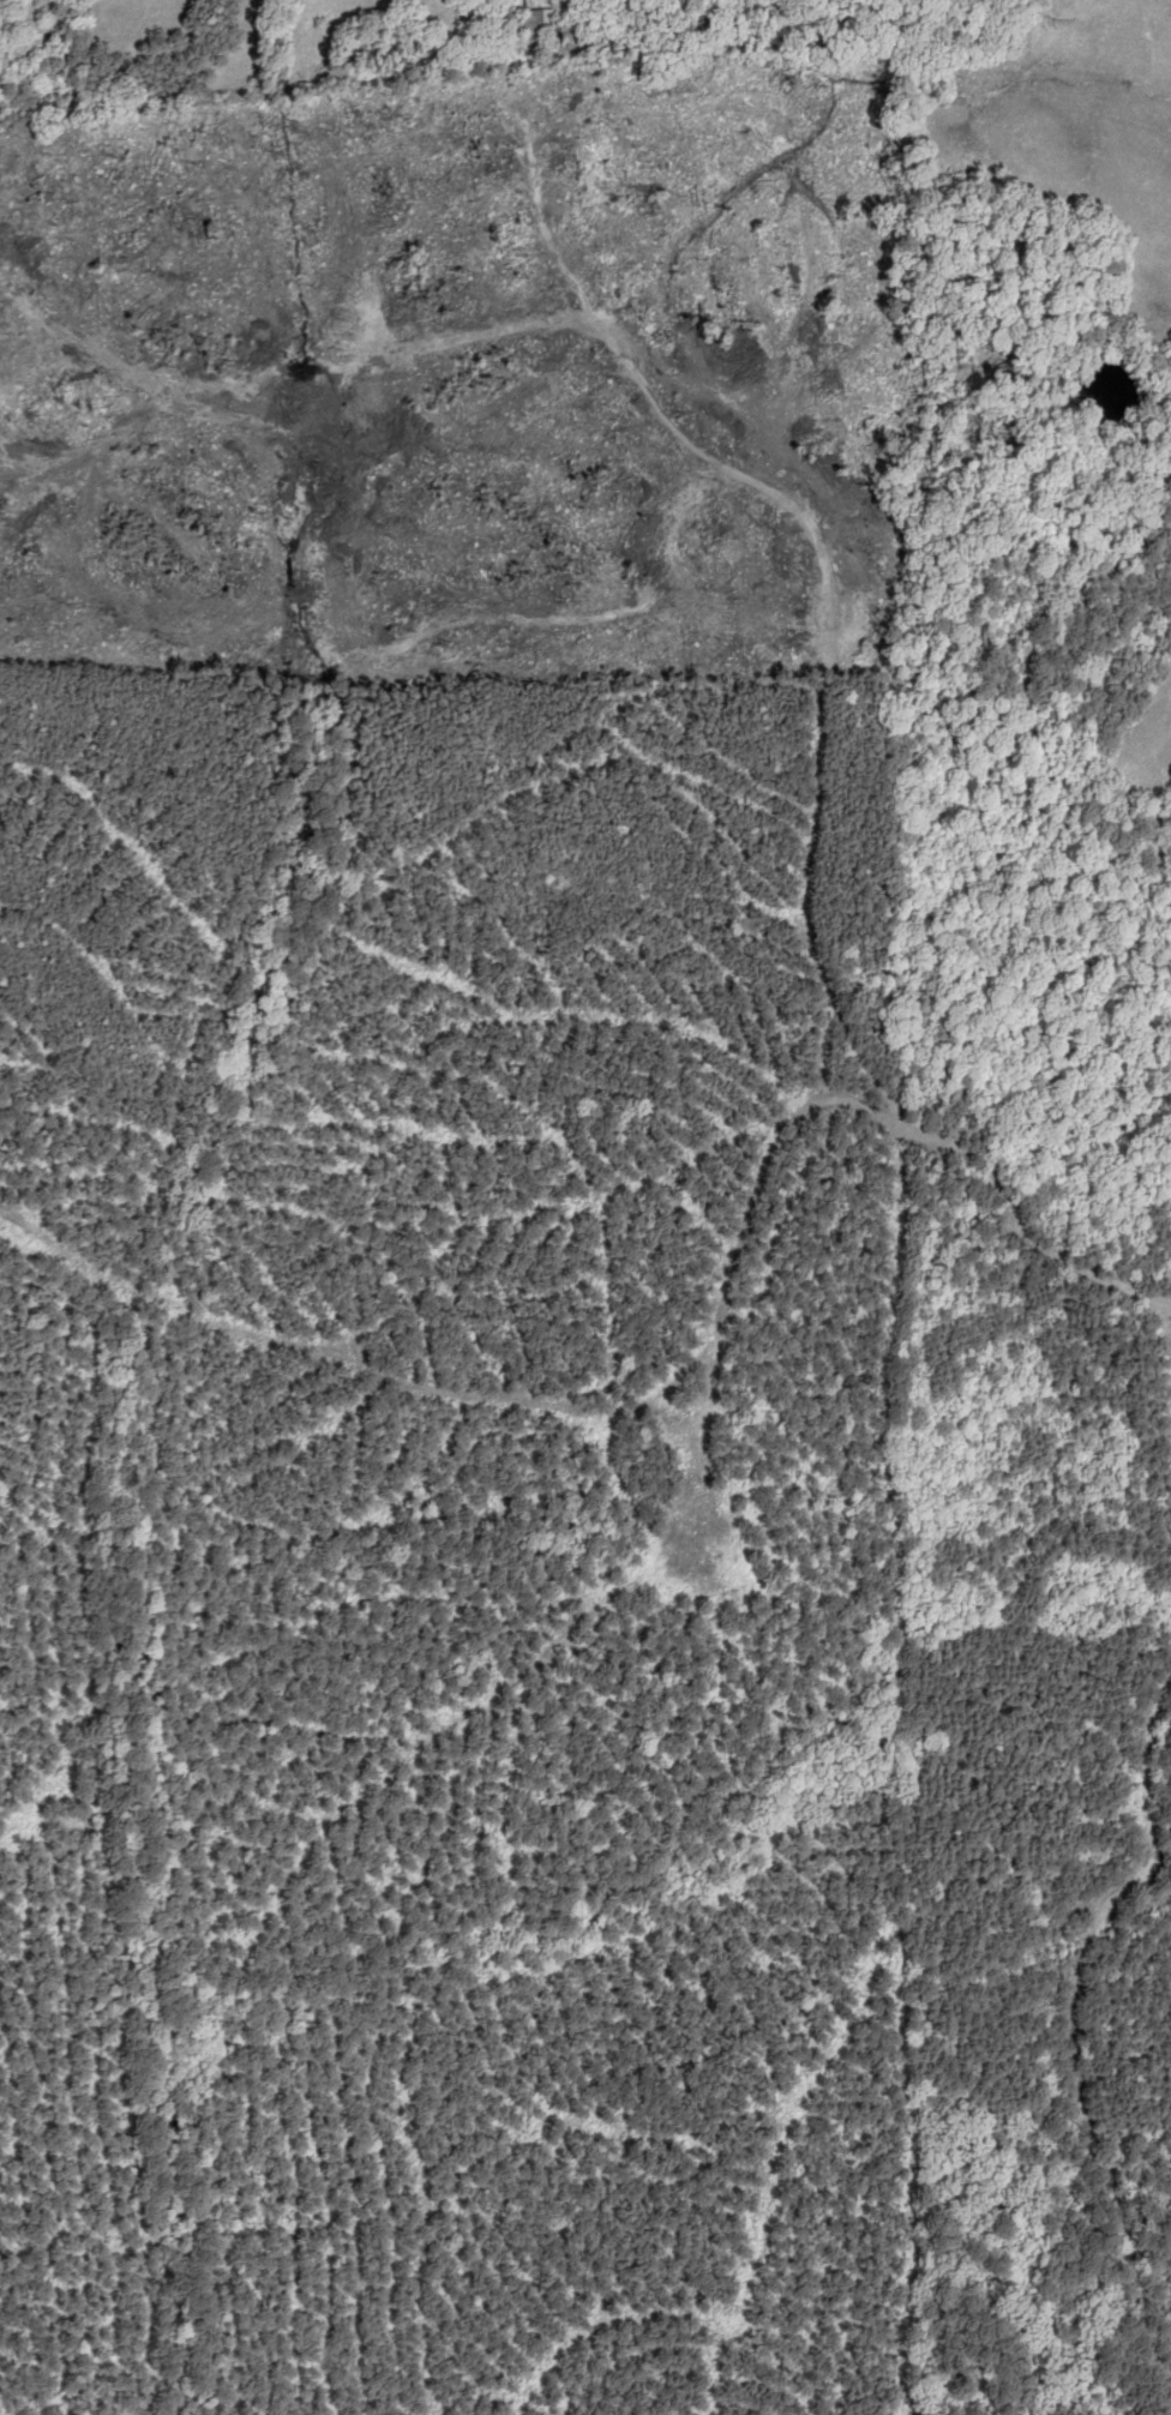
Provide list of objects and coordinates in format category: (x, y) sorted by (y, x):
building: (538, 22)
road: (1119, 2182)

